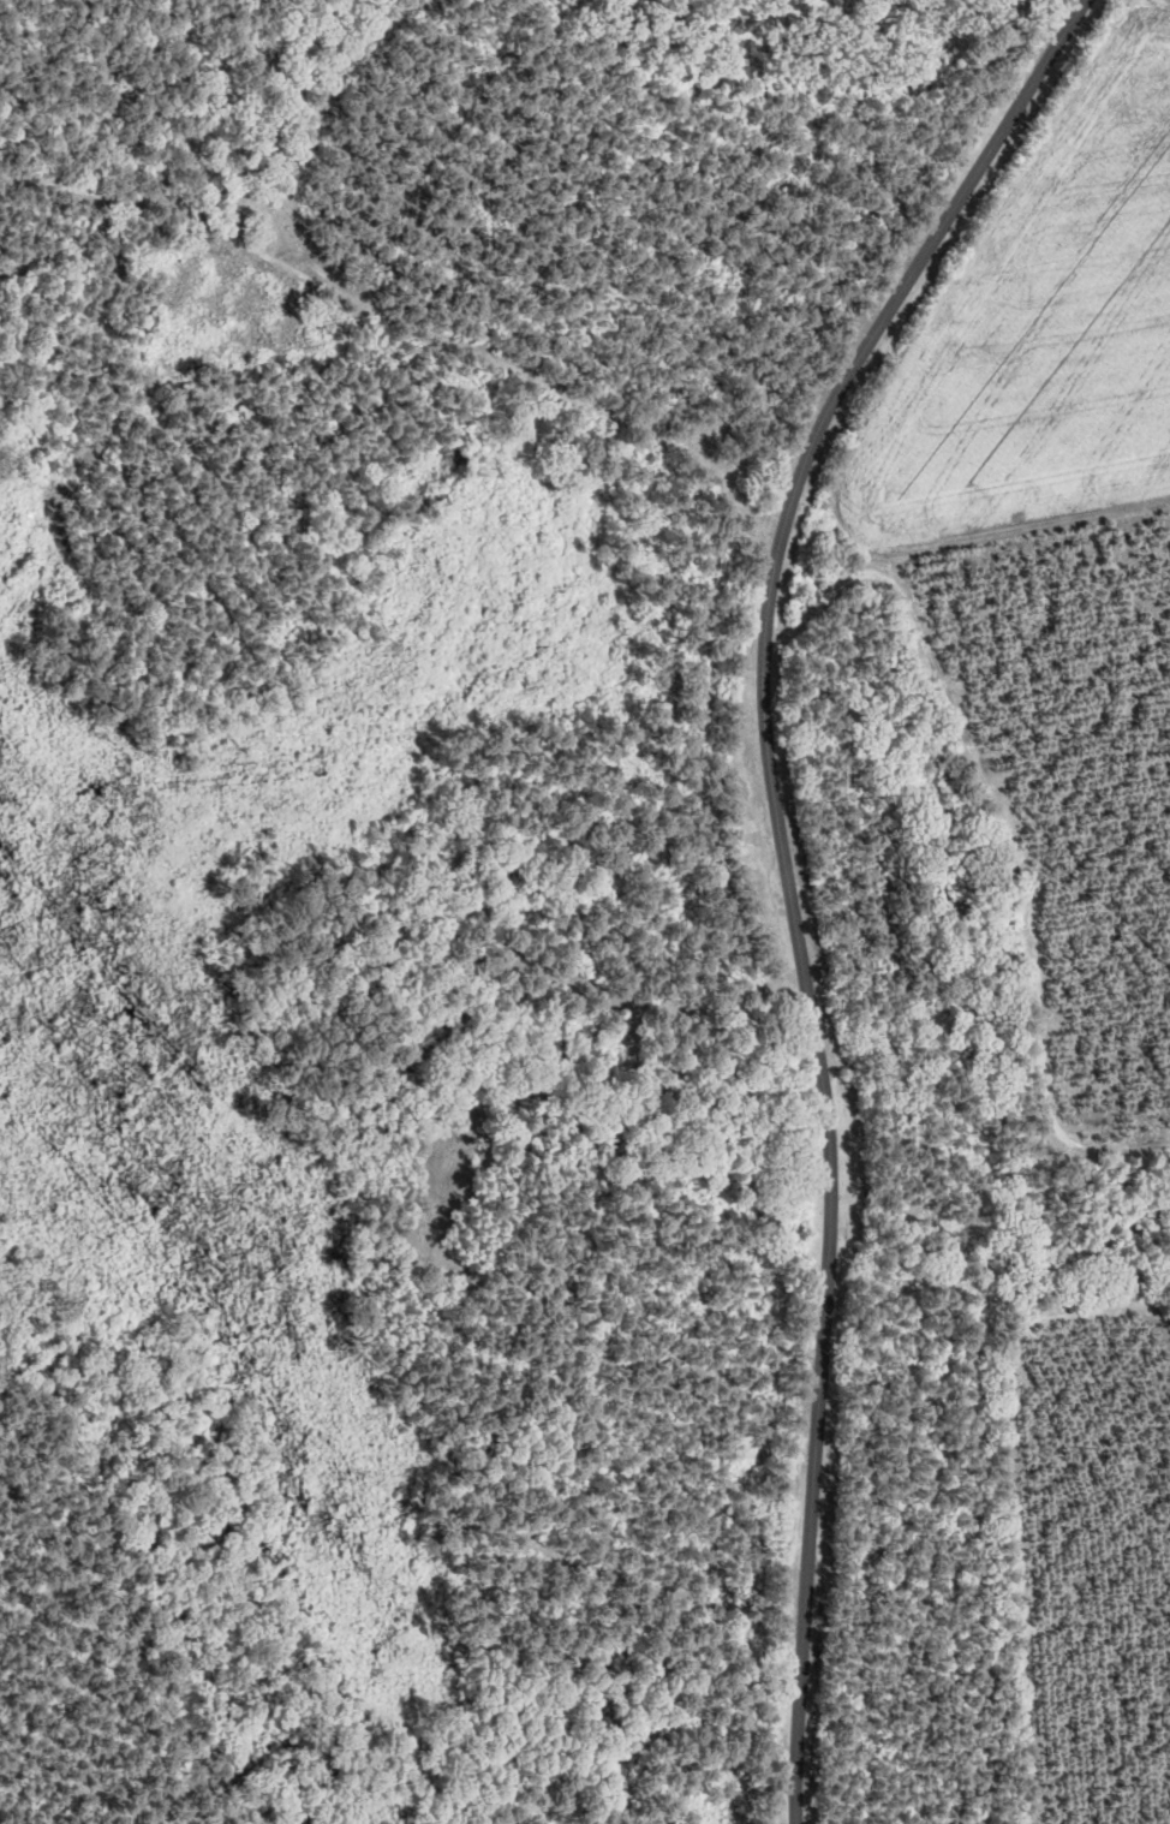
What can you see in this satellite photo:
road: (787, 870)

